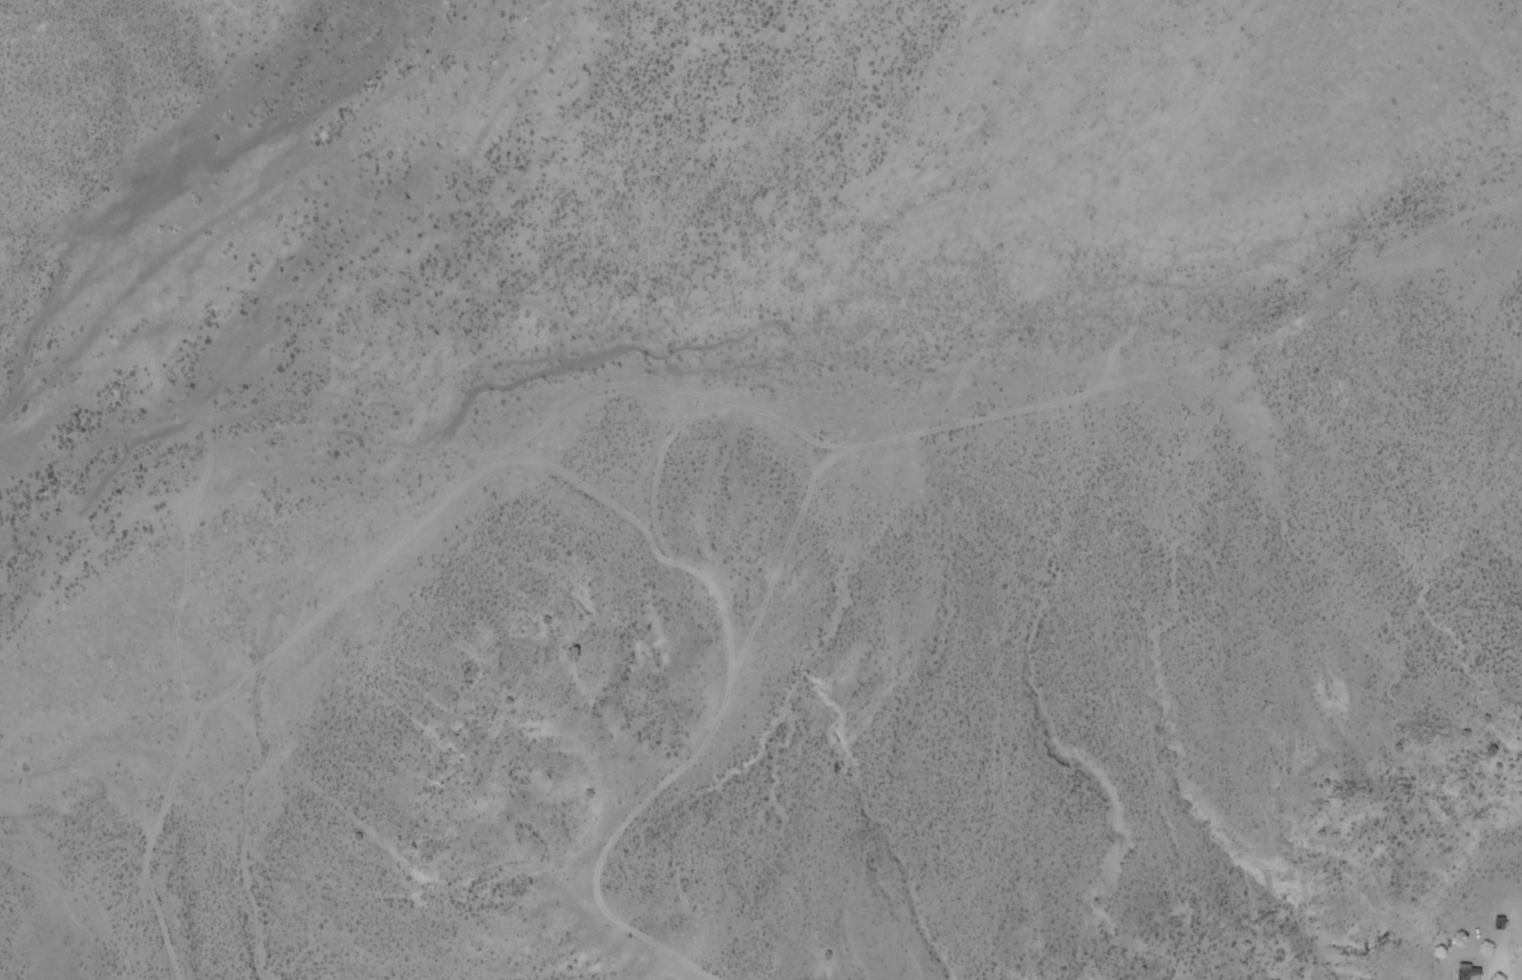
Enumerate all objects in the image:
building: (1471, 972)

